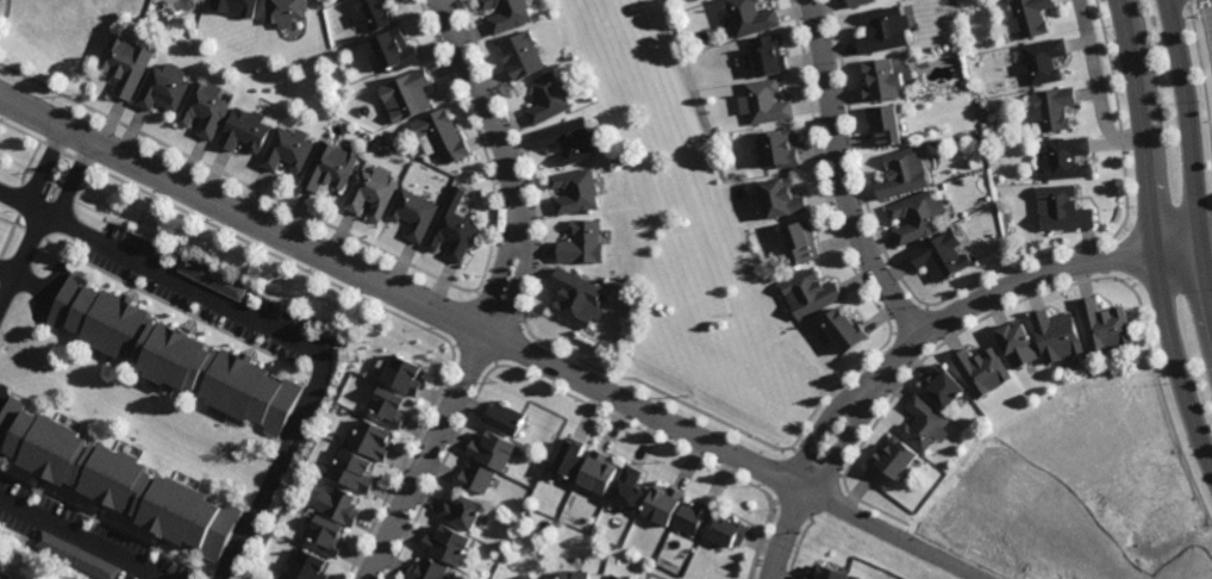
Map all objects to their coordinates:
building: (860, 2)
building: (237, 7)
building: (286, 11)
building: (374, 14)
building: (507, 14)
building: (1031, 15)
building: (750, 18)
building: (885, 31)
building: (399, 51)
building: (520, 56)
building: (766, 57)
building: (1043, 62)
building: (126, 64)
building: (881, 81)
road: (1099, 86)
building: (163, 88)
building: (408, 95)
building: (545, 100)
building: (767, 104)
building: (206, 108)
building: (1052, 108)
building: (367, 110)
building: (885, 127)
building: (246, 131)
building: (442, 137)
building: (570, 142)
building: (289, 149)
building: (779, 151)
building: (1066, 160)
road: (1192, 163)
building: (332, 167)
road: (43, 168)
building: (902, 175)
road: (844, 178)
road: (71, 182)
building: (574, 191)
building: (374, 193)
building: (781, 200)
road: (19, 203)
building: (1062, 208)
building: (413, 211)
building: (918, 216)
building: (451, 228)
road: (1154, 235)
building: (800, 239)
building: (581, 241)
road: (19, 254)
building: (941, 254)
building: (212, 275)
road: (1020, 284)
road: (402, 291)
building: (808, 292)
road: (506, 295)
building: (575, 295)
building: (1104, 324)
building: (843, 326)
building: (1057, 334)
road: (289, 337)
building: (1017, 342)
building: (174, 351)
building: (982, 369)
building: (404, 372)
building: (944, 385)
building: (388, 404)
building: (502, 417)
building: (925, 422)
road: (823, 428)
building: (373, 436)
road: (845, 442)
building: (491, 449)
building: (568, 456)
building: (894, 456)
building: (323, 466)
building: (354, 468)
building: (596, 471)
building: (471, 477)
building: (115, 478)
building: (626, 488)
building: (338, 502)
building: (661, 503)
building: (458, 511)
building: (692, 515)
building: (577, 518)
building: (727, 530)
building: (327, 533)
road: (785, 534)
road: (893, 535)
road: (81, 538)
building: (444, 543)
building: (75, 554)
building: (310, 565)
building: (426, 569)
building: (829, 573)
building: (5, 574)
building: (570, 574)
building: (283, 577)
building: (525, 577)
building: (614, 577)

